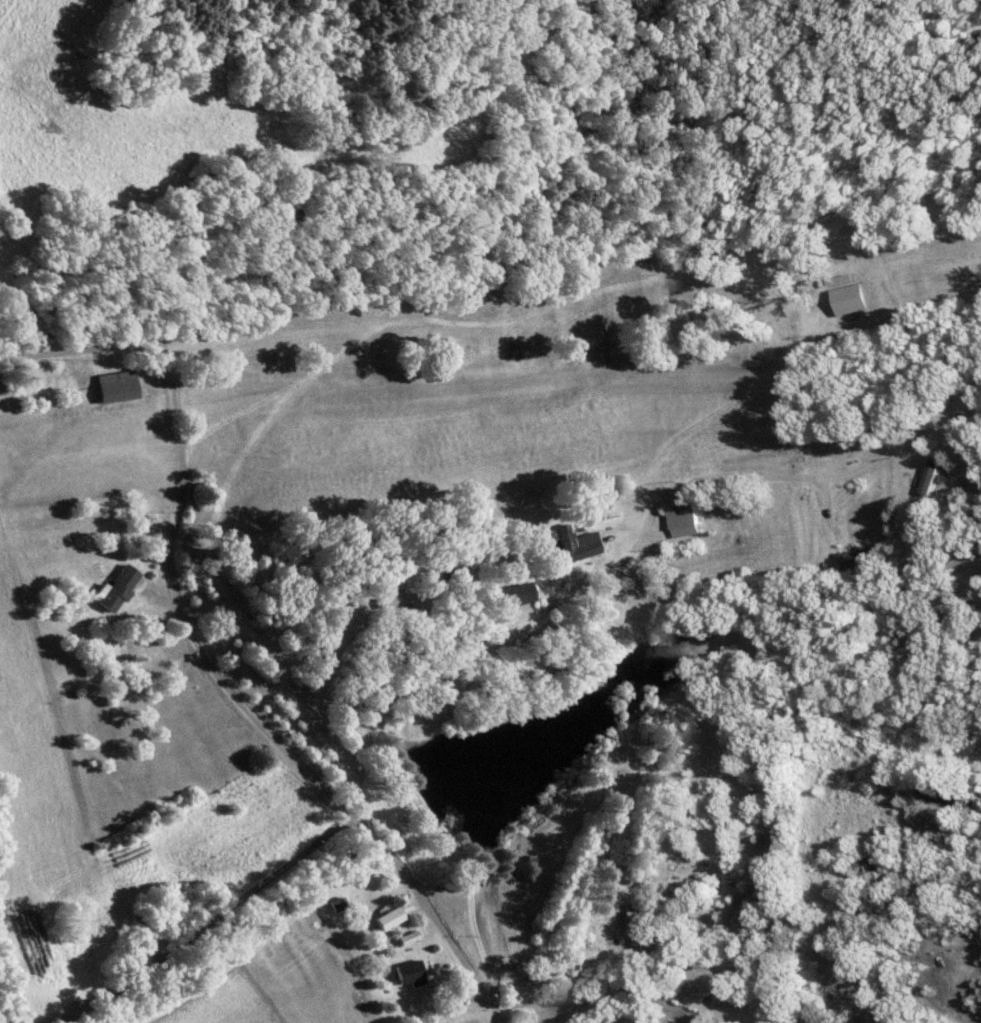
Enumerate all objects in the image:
road: (595, 291)
building: (853, 300)
building: (118, 386)
building: (684, 522)
building: (119, 588)
building: (518, 592)
road: (510, 604)
road: (205, 656)
building: (390, 918)
building: (642, 923)
building: (410, 937)
building: (412, 972)
road: (633, 998)

